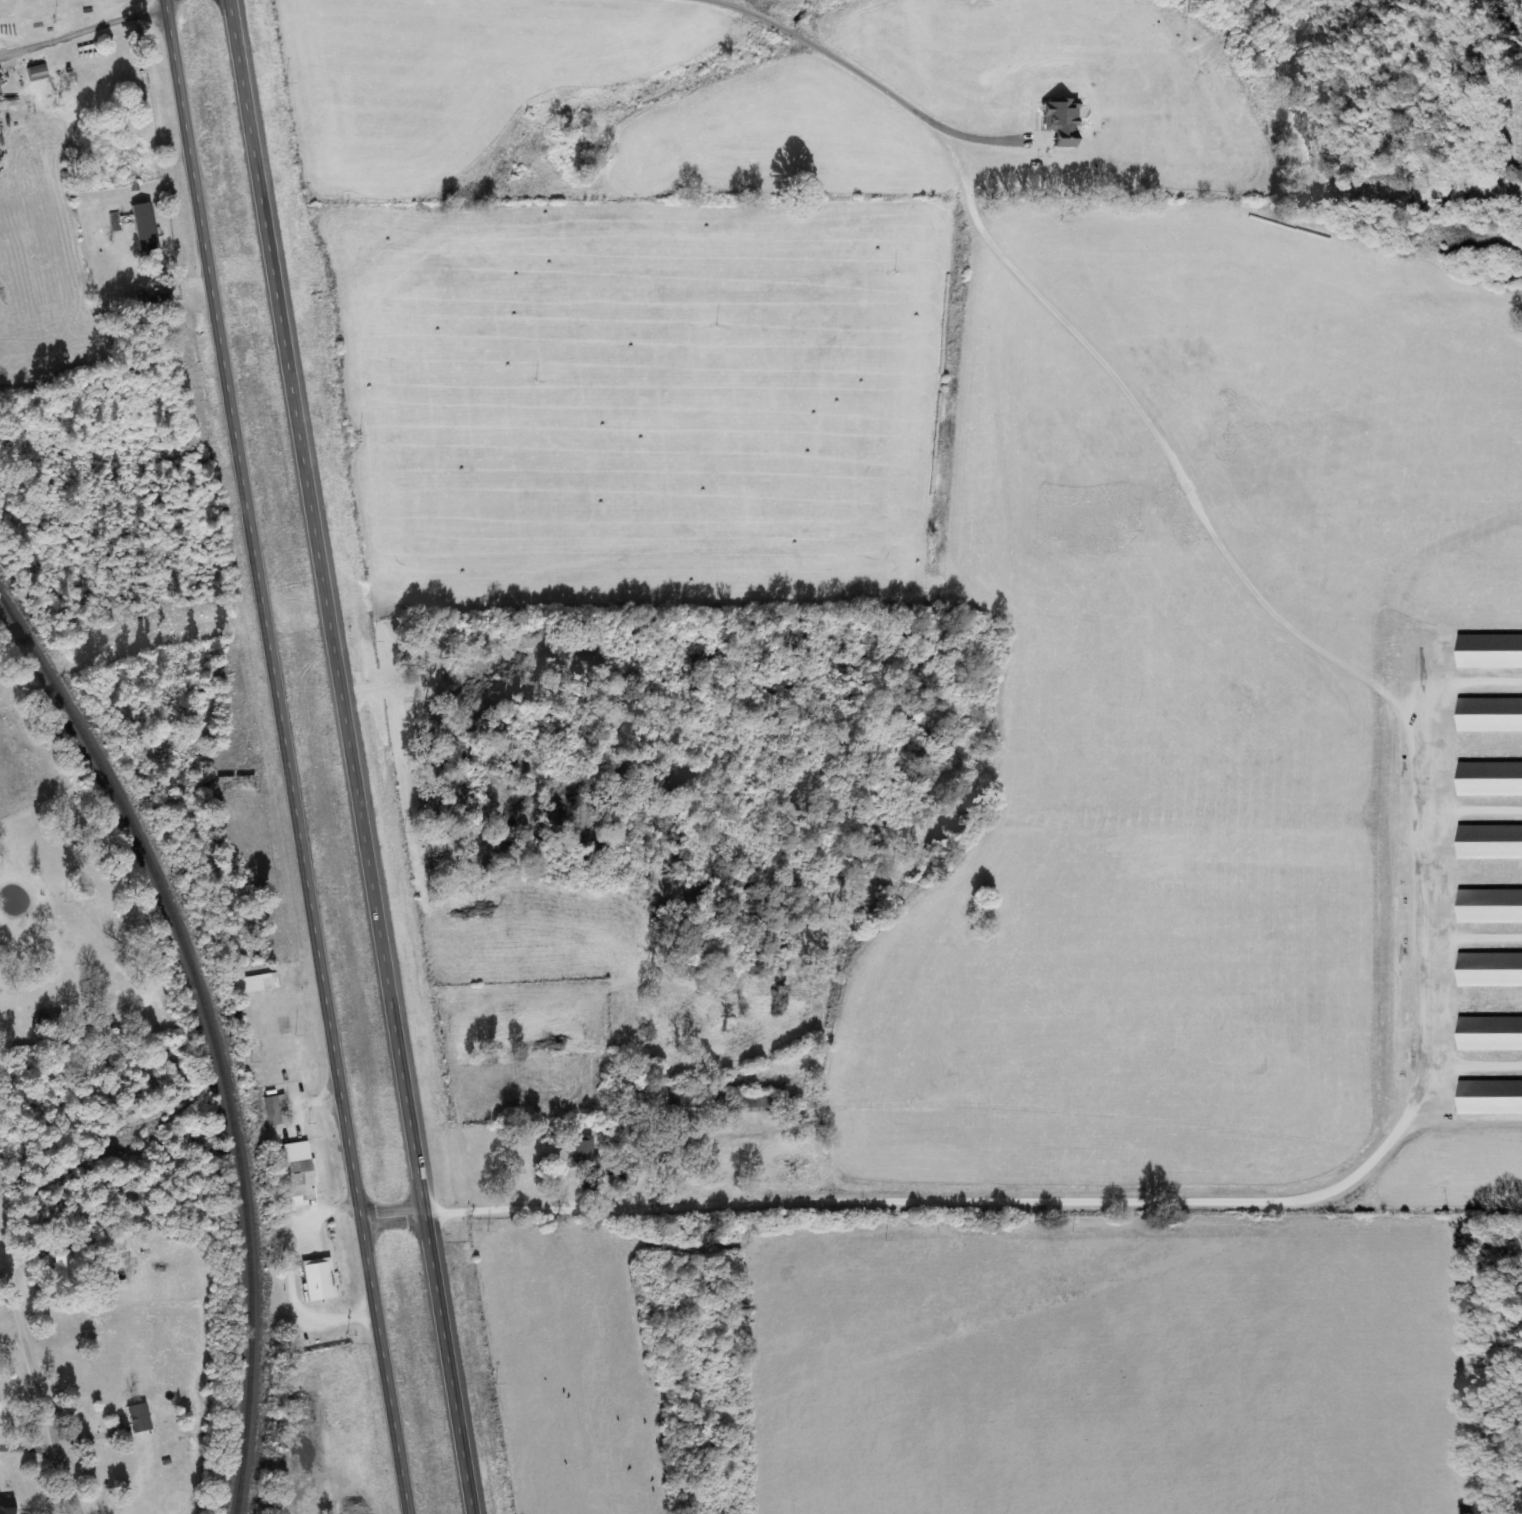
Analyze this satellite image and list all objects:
building: (1063, 121)
building: (145, 228)
building: (1487, 653)
building: (1487, 715)
road: (294, 756)
road: (360, 756)
building: (1487, 780)
building: (1488, 842)
building: (1488, 907)
building: (1488, 970)
building: (257, 983)
railway: (211, 1031)
building: (1488, 1035)
building: (1488, 1098)
building: (275, 1108)
building: (584, 1153)
building: (301, 1172)
building: (82, 1245)
road: (38, 1347)
building: (139, 1418)
road: (28, 1426)
building: (8, 1505)

